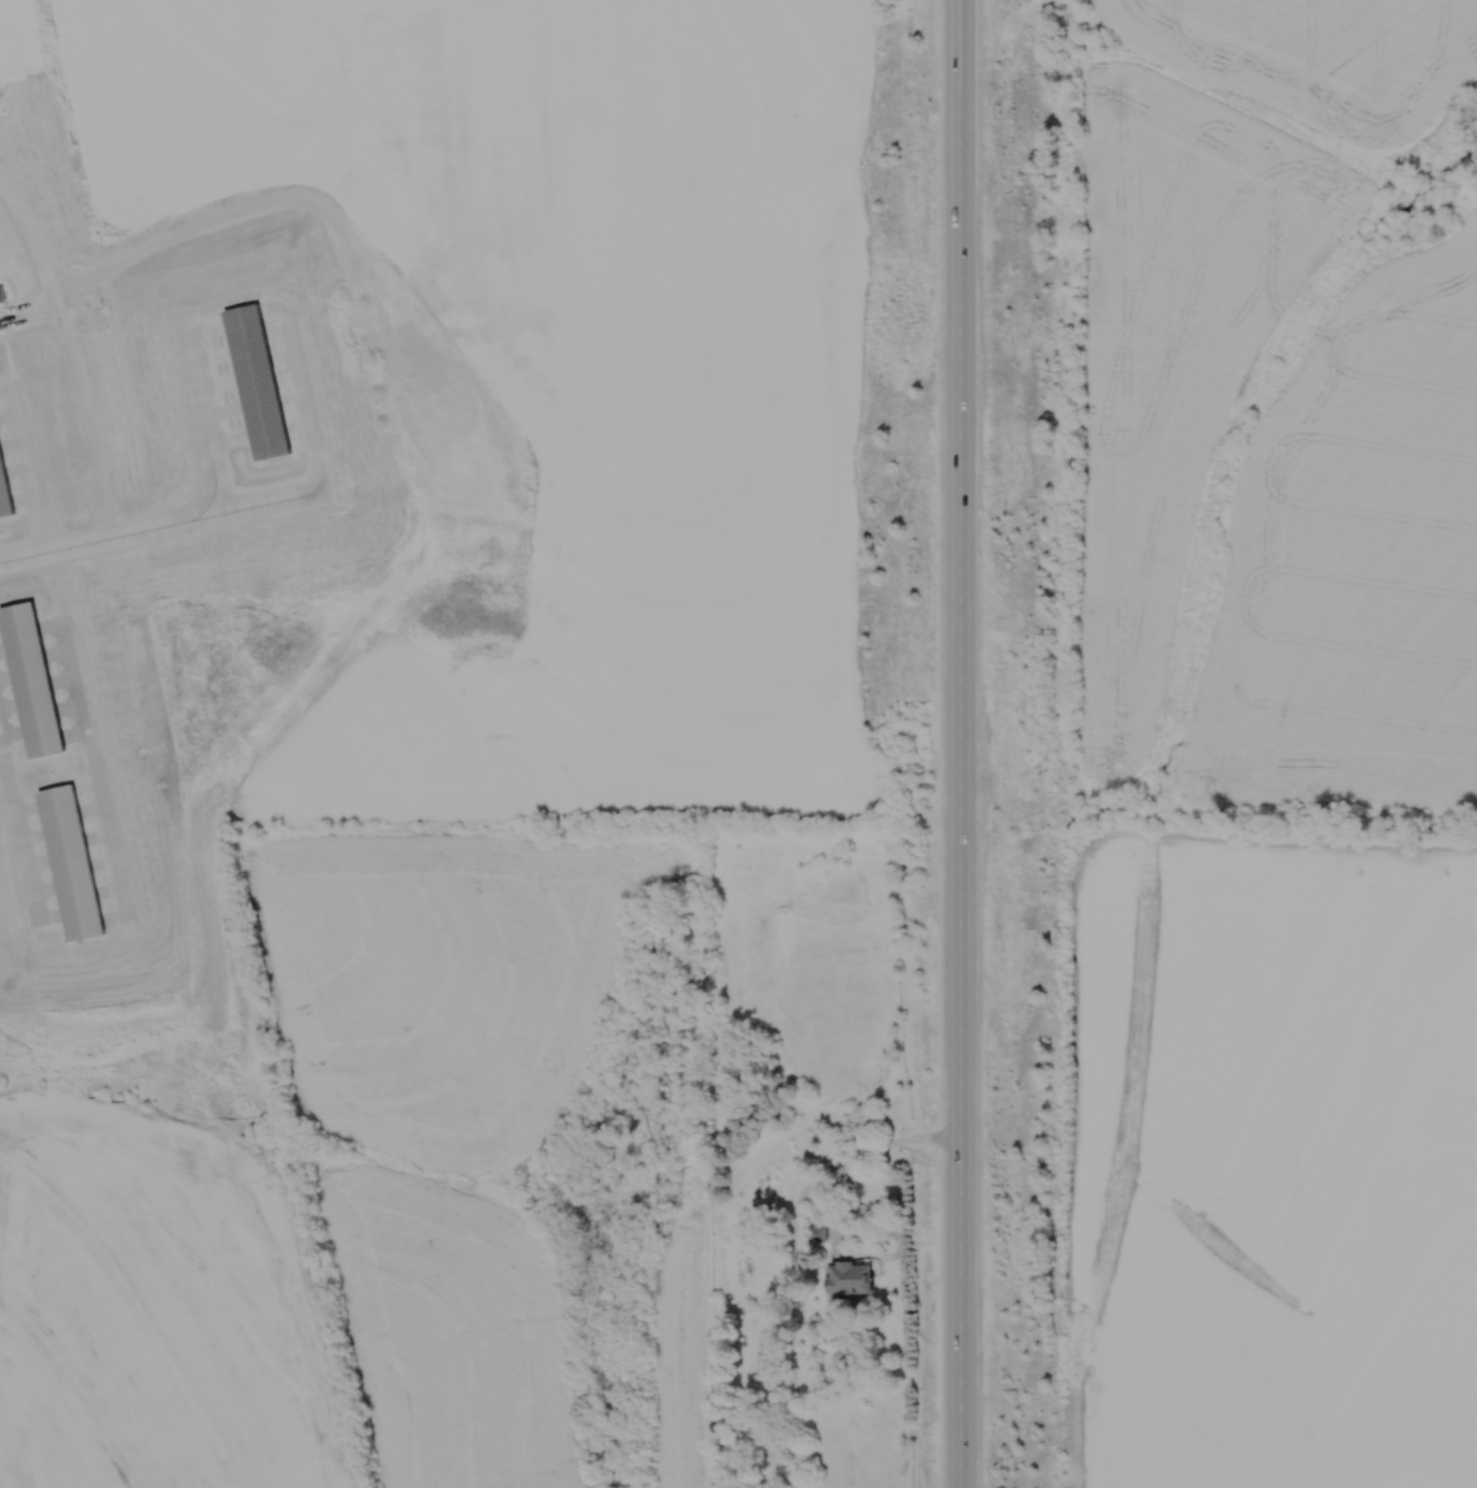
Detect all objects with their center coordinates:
building: (2, 293)
road: (31, 315)
building: (1, 326)
road: (71, 347)
airport hangar: (261, 372)
building: (261, 372)
airport taxiway: (206, 410)
airport hangar: (5, 483)
building: (5, 483)
airport taxiway: (247, 496)
airport taxiway: (70, 644)
airport hangar: (32, 679)
building: (32, 679)
road: (957, 743)
airport taxiway: (23, 813)
airport hangar: (74, 854)
building: (74, 854)
building: (121, 899)
building: (822, 1236)
road: (793, 1256)
building: (856, 1281)

